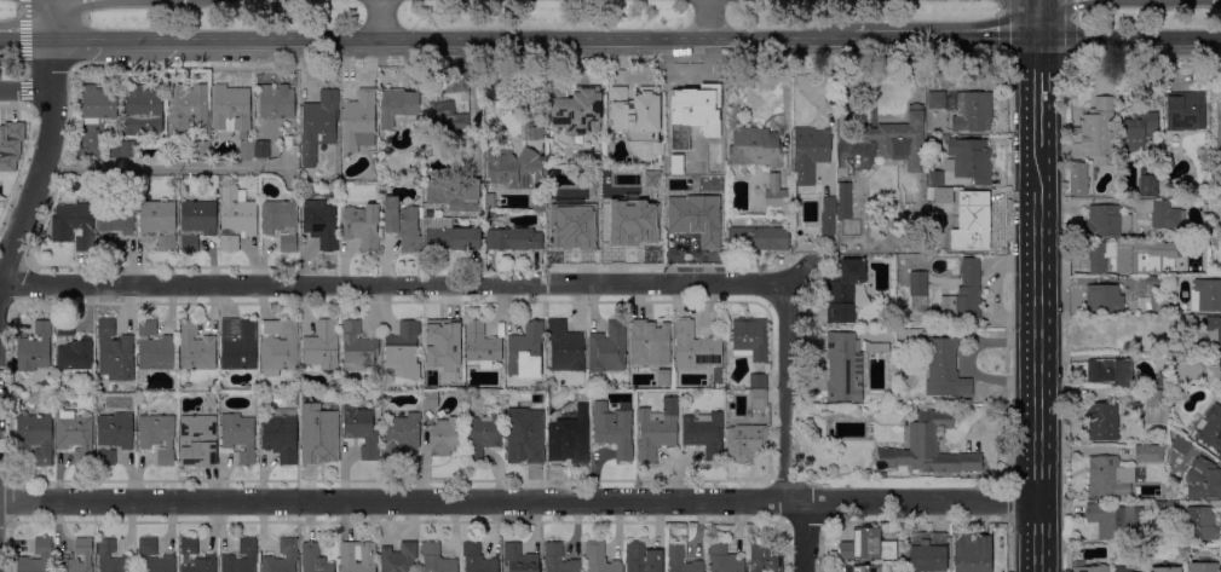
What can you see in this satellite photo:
road: (380, 18)
road: (1037, 18)
road: (48, 19)
road: (713, 19)
road: (451, 37)
road: (945, 37)
traffic signals: (996, 37)
road: (1129, 37)
road: (24, 39)
road: (24, 51)
road: (1036, 65)
road: (828, 67)
road: (799, 69)
traffic signals: (1038, 71)
road: (24, 91)
road: (1037, 93)
building: (937, 100)
building: (276, 103)
building: (98, 104)
building: (398, 105)
building: (188, 108)
building: (143, 110)
building: (232, 110)
building: (576, 110)
building: (973, 111)
building: (637, 112)
building: (1186, 112)
building: (445, 116)
building: (359, 121)
building: (318, 126)
building: (1219, 127)
building: (1139, 131)
building: (534, 132)
building: (1096, 132)
road: (833, 135)
building: (898, 139)
building: (7, 143)
building: (756, 146)
building: (113, 149)
building: (127, 149)
building: (201, 149)
building: (247, 149)
building: (263, 150)
building: (810, 152)
building: (969, 160)
road: (44, 161)
road: (163, 167)
building: (698, 168)
building: (514, 169)
building: (1078, 178)
building: (935, 179)
building: (304, 180)
building: (1147, 181)
building: (486, 185)
building: (777, 192)
building: (455, 196)
building: (944, 196)
building: (843, 201)
building: (538, 206)
building: (829, 206)
building: (420, 214)
building: (1167, 215)
building: (490, 216)
building: (236, 218)
building: (695, 219)
building: (1106, 221)
building: (114, 223)
building: (159, 223)
building: (196, 223)
building: (281, 223)
building: (973, 223)
building: (77, 224)
building: (321, 224)
building: (403, 224)
building: (362, 226)
building: (449, 235)
building: (758, 238)
building: (514, 239)
building: (1204, 243)
building: (1123, 256)
building: (1203, 272)
road: (390, 284)
building: (843, 290)
building: (918, 291)
building: (966, 294)
building: (1205, 295)
building: (1104, 299)
building: (1148, 305)
building: (1214, 331)
building: (749, 337)
building: (238, 343)
building: (440, 343)
building: (650, 343)
building: (480, 345)
building: (278, 346)
building: (322, 346)
building: (155, 347)
building: (357, 347)
building: (564, 347)
building: (876, 347)
building: (34, 348)
building: (196, 348)
building: (609, 348)
building: (695, 348)
building: (74, 349)
building: (114, 352)
building: (403, 352)
building: (525, 352)
road: (1037, 360)
building: (843, 368)
building: (944, 369)
building: (1110, 371)
building: (1188, 371)
building: (663, 379)
building: (1163, 380)
building: (1219, 380)
building: (758, 381)
building: (100, 386)
building: (294, 387)
building: (588, 394)
road: (785, 394)
building: (758, 398)
building: (430, 399)
building: (174, 400)
building: (293, 400)
building: (1154, 406)
building: (1101, 421)
building: (363, 429)
building: (614, 429)
building: (656, 429)
building: (1158, 429)
building: (1213, 429)
building: (318, 431)
building: (281, 434)
building: (704, 434)
building: (76, 435)
building: (114, 435)
building: (238, 435)
building: (483, 435)
building: (524, 435)
building: (35, 437)
building: (159, 437)
building: (401, 437)
building: (447, 437)
building: (569, 437)
building: (197, 440)
building: (745, 440)
building: (1181, 444)
building: (928, 447)
building: (1105, 450)
building: (1150, 455)
building: (1182, 467)
building: (1110, 475)
building: (1203, 480)
road: (519, 502)
building: (1165, 509)
building: (1115, 521)
building: (1200, 524)
road: (804, 535)
building: (866, 545)
building: (927, 553)
building: (972, 553)
building: (104, 554)
building: (45, 556)
building: (169, 556)
building: (211, 556)
building: (358, 556)
building: (85, 557)
building: (242, 557)
building: (282, 557)
building: (399, 557)
building: (643, 557)
building: (765, 557)
building: (315, 559)
building: (437, 559)
building: (478, 559)
building: (520, 559)
building: (558, 559)
building: (599, 559)
building: (724, 559)
building: (681, 560)
building: (1204, 566)
building: (1088, 567)
building: (858, 568)
building: (1164, 570)

